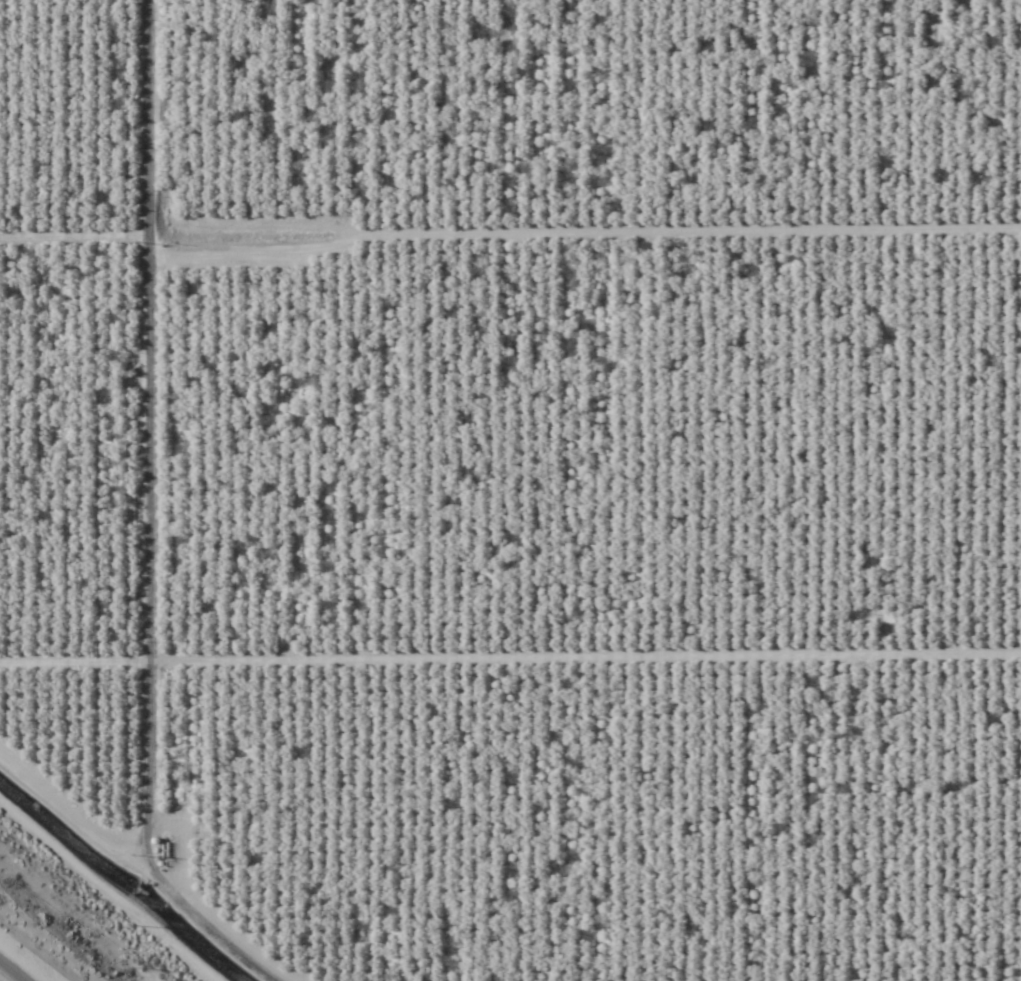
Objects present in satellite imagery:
road: (134, 331)
road: (35, 949)

